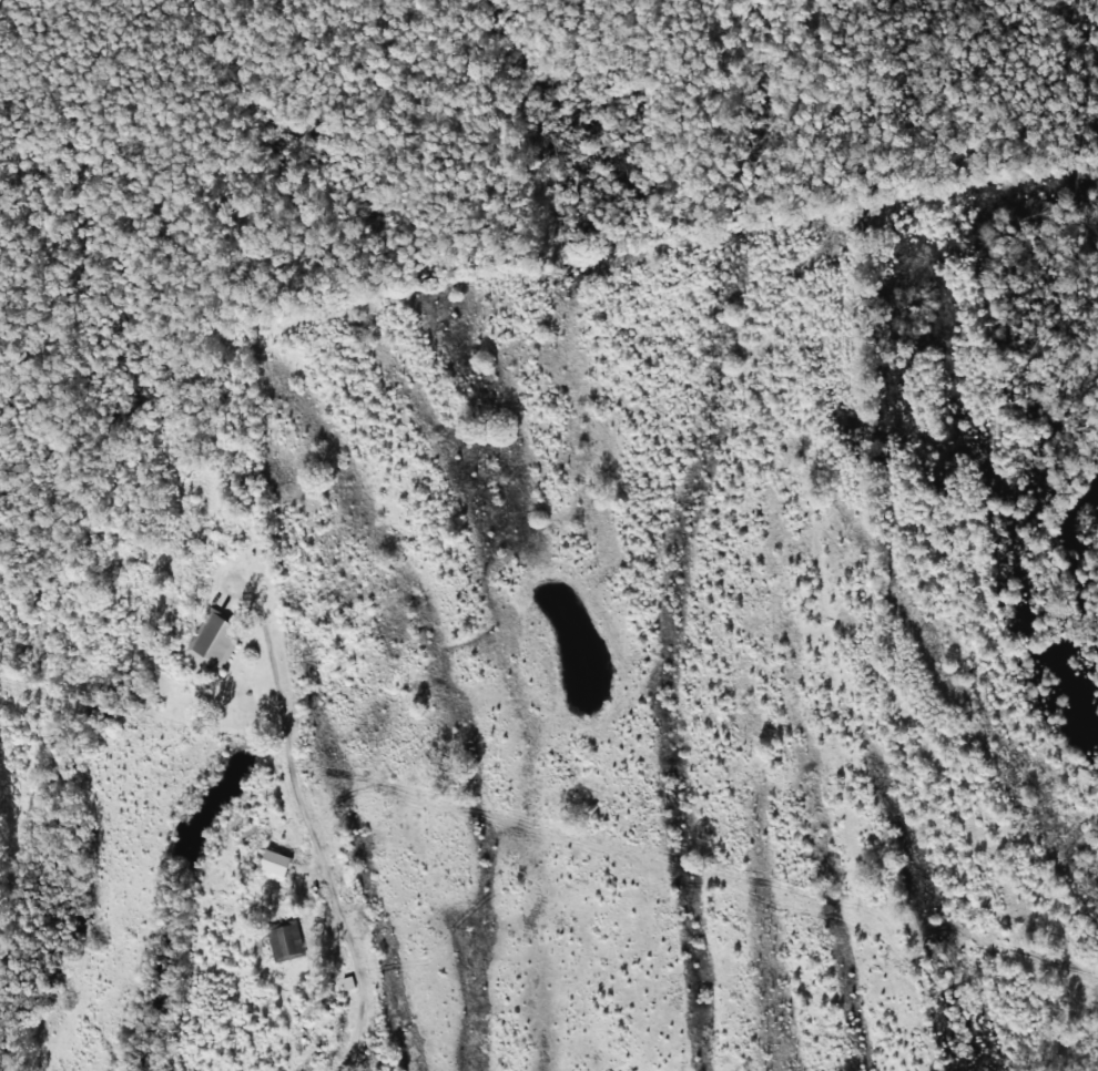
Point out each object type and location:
building: (214, 639)
building: (275, 861)
building: (284, 939)

